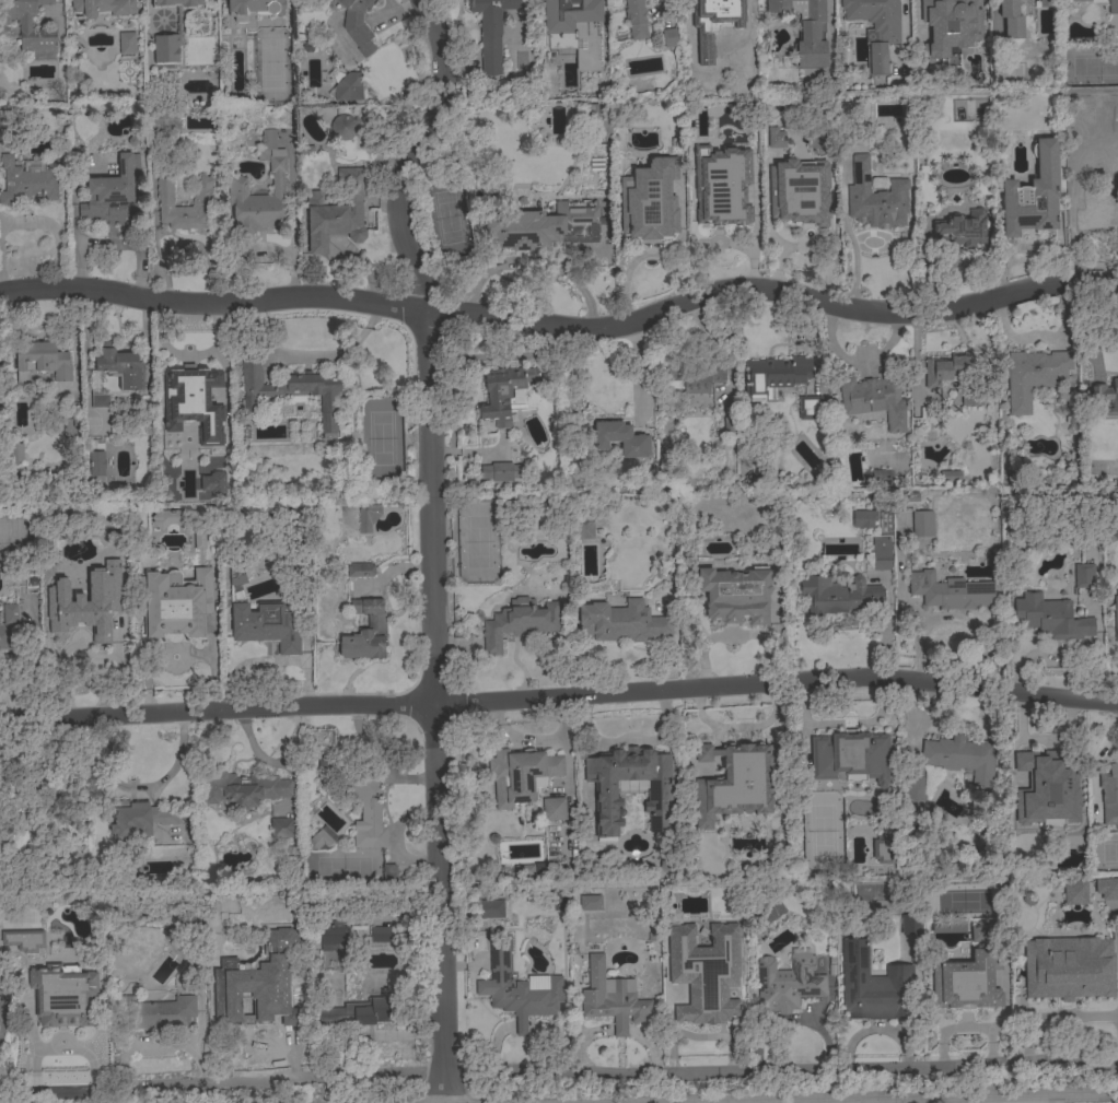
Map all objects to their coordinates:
building: (1078, 0)
building: (1045, 3)
building: (1113, 7)
building: (103, 8)
building: (253, 9)
building: (946, 15)
building: (636, 19)
building: (1011, 19)
building: (179, 22)
building: (738, 22)
building: (28, 25)
building: (358, 25)
building: (574, 28)
building: (875, 28)
building: (491, 30)
building: (805, 31)
building: (669, 37)
building: (127, 44)
building: (349, 87)
building: (4, 119)
building: (598, 120)
building: (342, 127)
building: (775, 139)
building: (747, 148)
building: (1083, 151)
building: (26, 183)
building: (236, 187)
building: (115, 193)
building: (1033, 195)
building: (876, 198)
building: (649, 200)
building: (724, 202)
building: (794, 202)
building: (200, 204)
building: (1097, 208)
building: (336, 212)
building: (539, 225)
building: (962, 228)
road: (563, 327)
building: (40, 361)
building: (120, 366)
building: (948, 368)
building: (775, 375)
building: (1033, 376)
building: (694, 377)
building: (503, 390)
building: (292, 392)
building: (875, 397)
building: (971, 397)
building: (189, 398)
building: (1104, 399)
building: (100, 401)
building: (810, 408)
building: (729, 426)
building: (620, 438)
building: (219, 446)
building: (15, 454)
building: (97, 464)
building: (501, 471)
building: (950, 476)
building: (876, 480)
building: (209, 483)
building: (568, 483)
building: (907, 497)
building: (368, 517)
building: (170, 518)
building: (861, 520)
building: (922, 524)
building: (583, 530)
road: (434, 541)
building: (295, 554)
building: (882, 560)
building: (360, 570)
building: (1083, 575)
building: (236, 580)
building: (86, 590)
building: (950, 591)
building: (736, 595)
building: (839, 595)
building: (174, 602)
building: (1116, 617)
building: (1051, 618)
building: (520, 622)
building: (622, 622)
building: (8, 625)
building: (266, 627)
building: (365, 631)
road: (559, 696)
building: (741, 755)
building: (850, 756)
building: (962, 756)
building: (521, 775)
building: (913, 785)
building: (1050, 787)
building: (245, 790)
building: (659, 795)
building: (1109, 795)
building: (357, 796)
building: (23, 800)
building: (554, 809)
building: (781, 812)
building: (139, 819)
building: (247, 819)
building: (281, 828)
building: (325, 836)
building: (880, 850)
building: (666, 858)
building: (523, 870)
building: (388, 876)
building: (1107, 888)
building: (1074, 892)
building: (864, 895)
building: (591, 903)
building: (490, 908)
building: (680, 923)
building: (911, 925)
building: (331, 935)
building: (380, 935)
building: (974, 935)
building: (20, 941)
building: (184, 947)
building: (12, 957)
building: (1069, 967)
building: (219, 971)
building: (788, 983)
building: (874, 986)
building: (519, 988)
building: (700, 988)
building: (964, 993)
building: (59, 995)
building: (612, 998)
building: (261, 1001)
building: (155, 1012)
building: (360, 1012)
building: (67, 1018)
road: (558, 1075)
road: (1079, 1096)
road: (1014, 1098)
road: (906, 1101)
road: (990, 1101)

